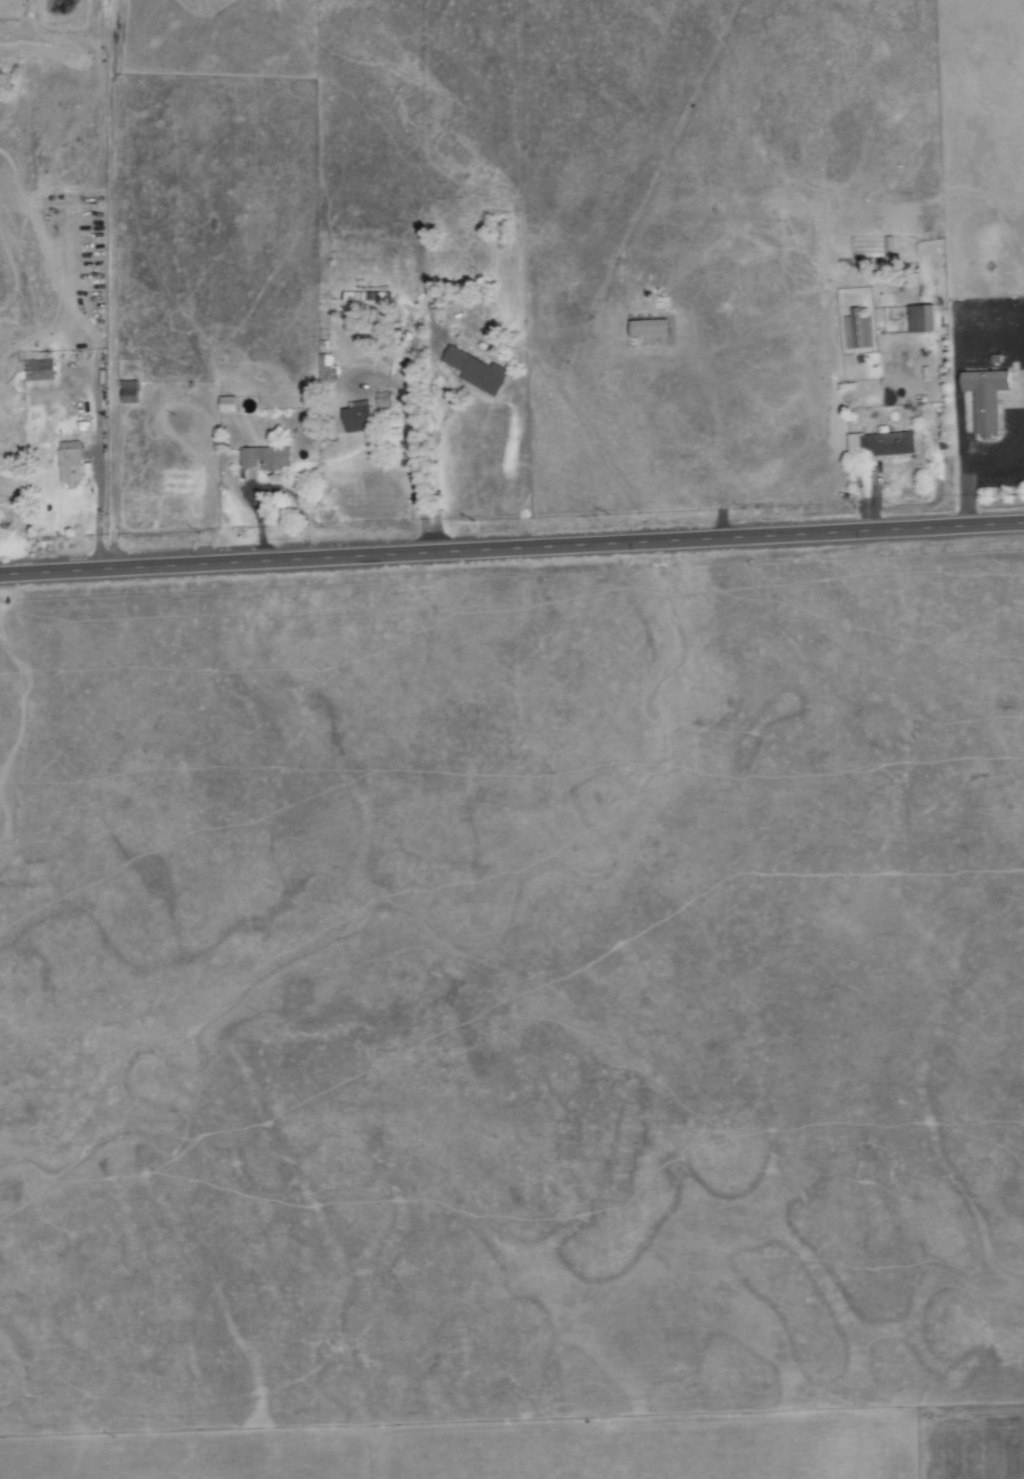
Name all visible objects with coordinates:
road: (112, 285)
building: (922, 319)
building: (858, 330)
building: (39, 370)
building: (477, 371)
building: (131, 392)
building: (986, 398)
building: (228, 405)
building: (364, 414)
building: (882, 444)
building: (266, 458)
building: (71, 462)
road: (96, 469)
road: (511, 549)

